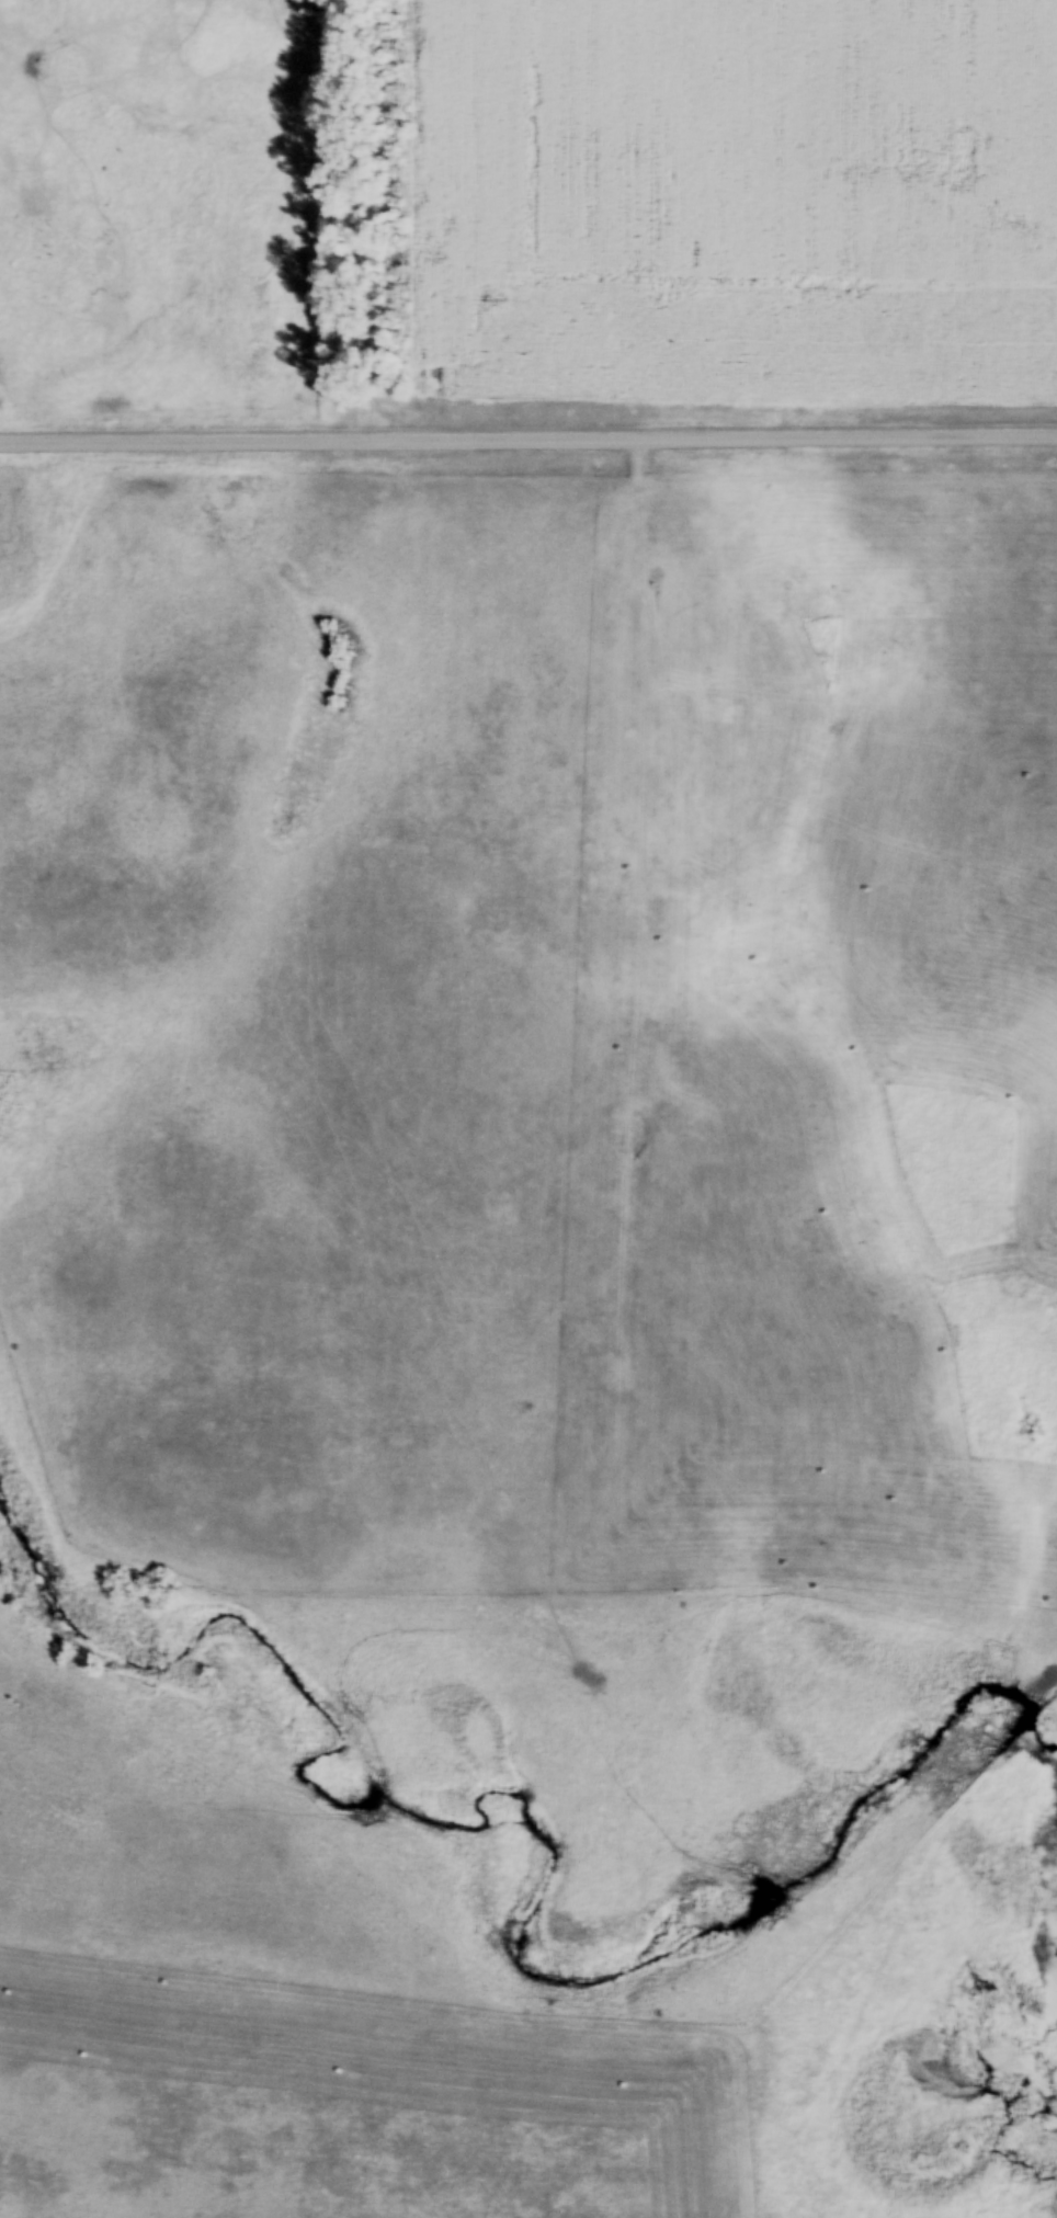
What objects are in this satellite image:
road: (527, 433)
river: (933, 2106)

